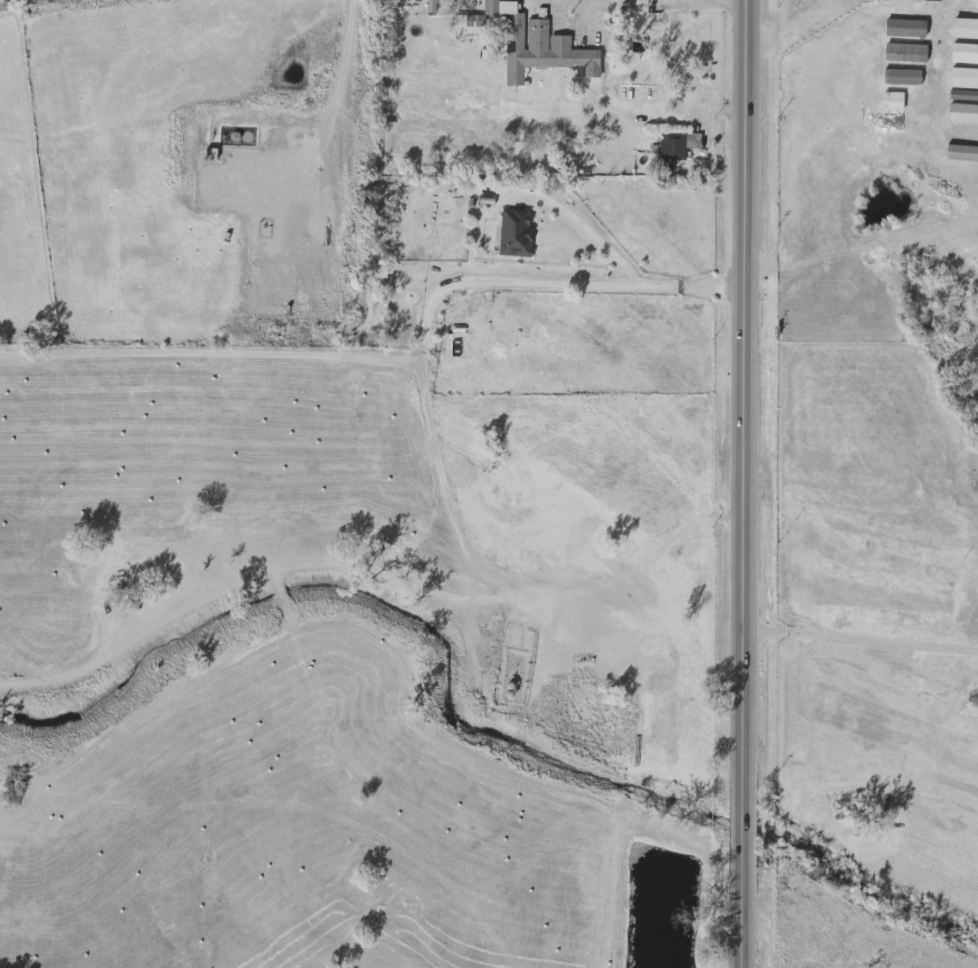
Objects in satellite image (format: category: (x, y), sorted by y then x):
building: (872, 0)
road: (727, 1)
road: (586, 3)
building: (644, 33)
building: (534, 45)
building: (876, 55)
road: (345, 78)
building: (886, 78)
building: (882, 100)
building: (880, 121)
building: (673, 144)
building: (512, 232)
road: (586, 233)
road: (429, 308)
road: (208, 353)
road: (745, 484)
road: (860, 639)

